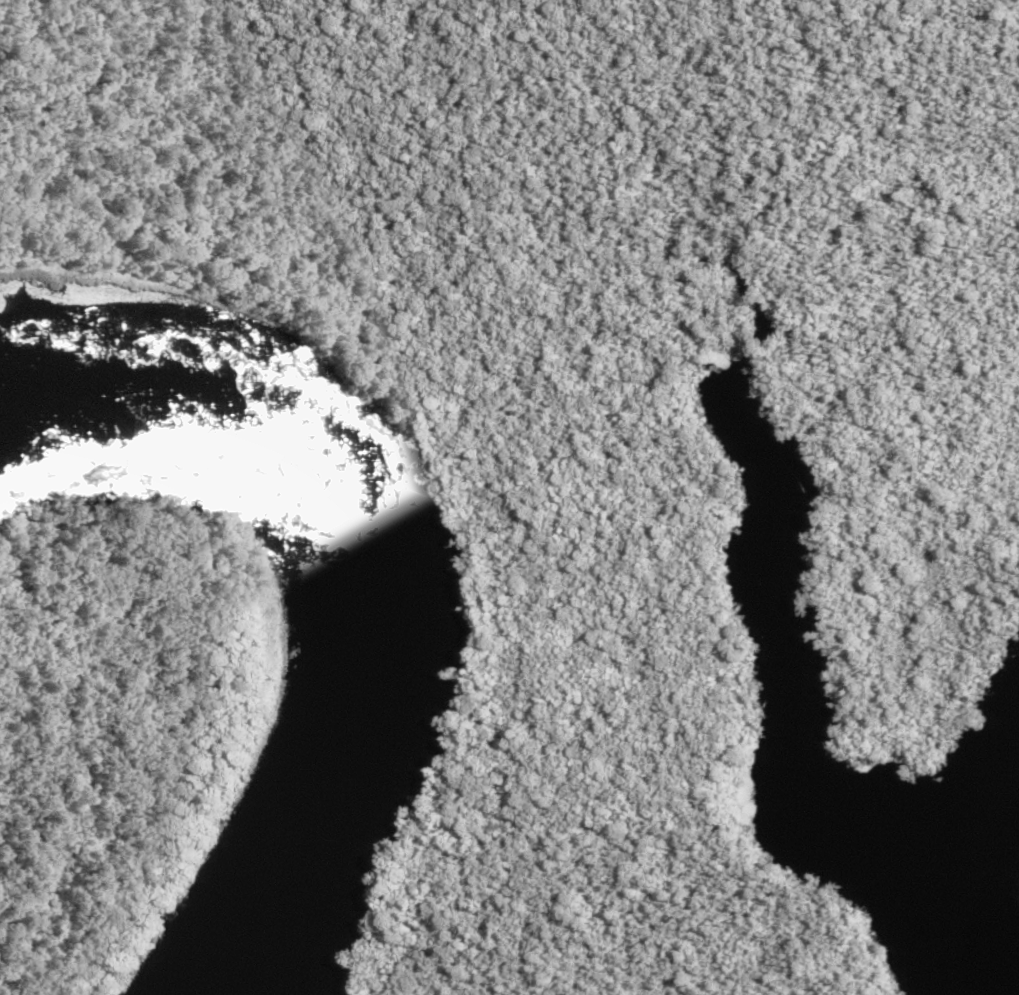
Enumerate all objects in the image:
river: (362, 555)

